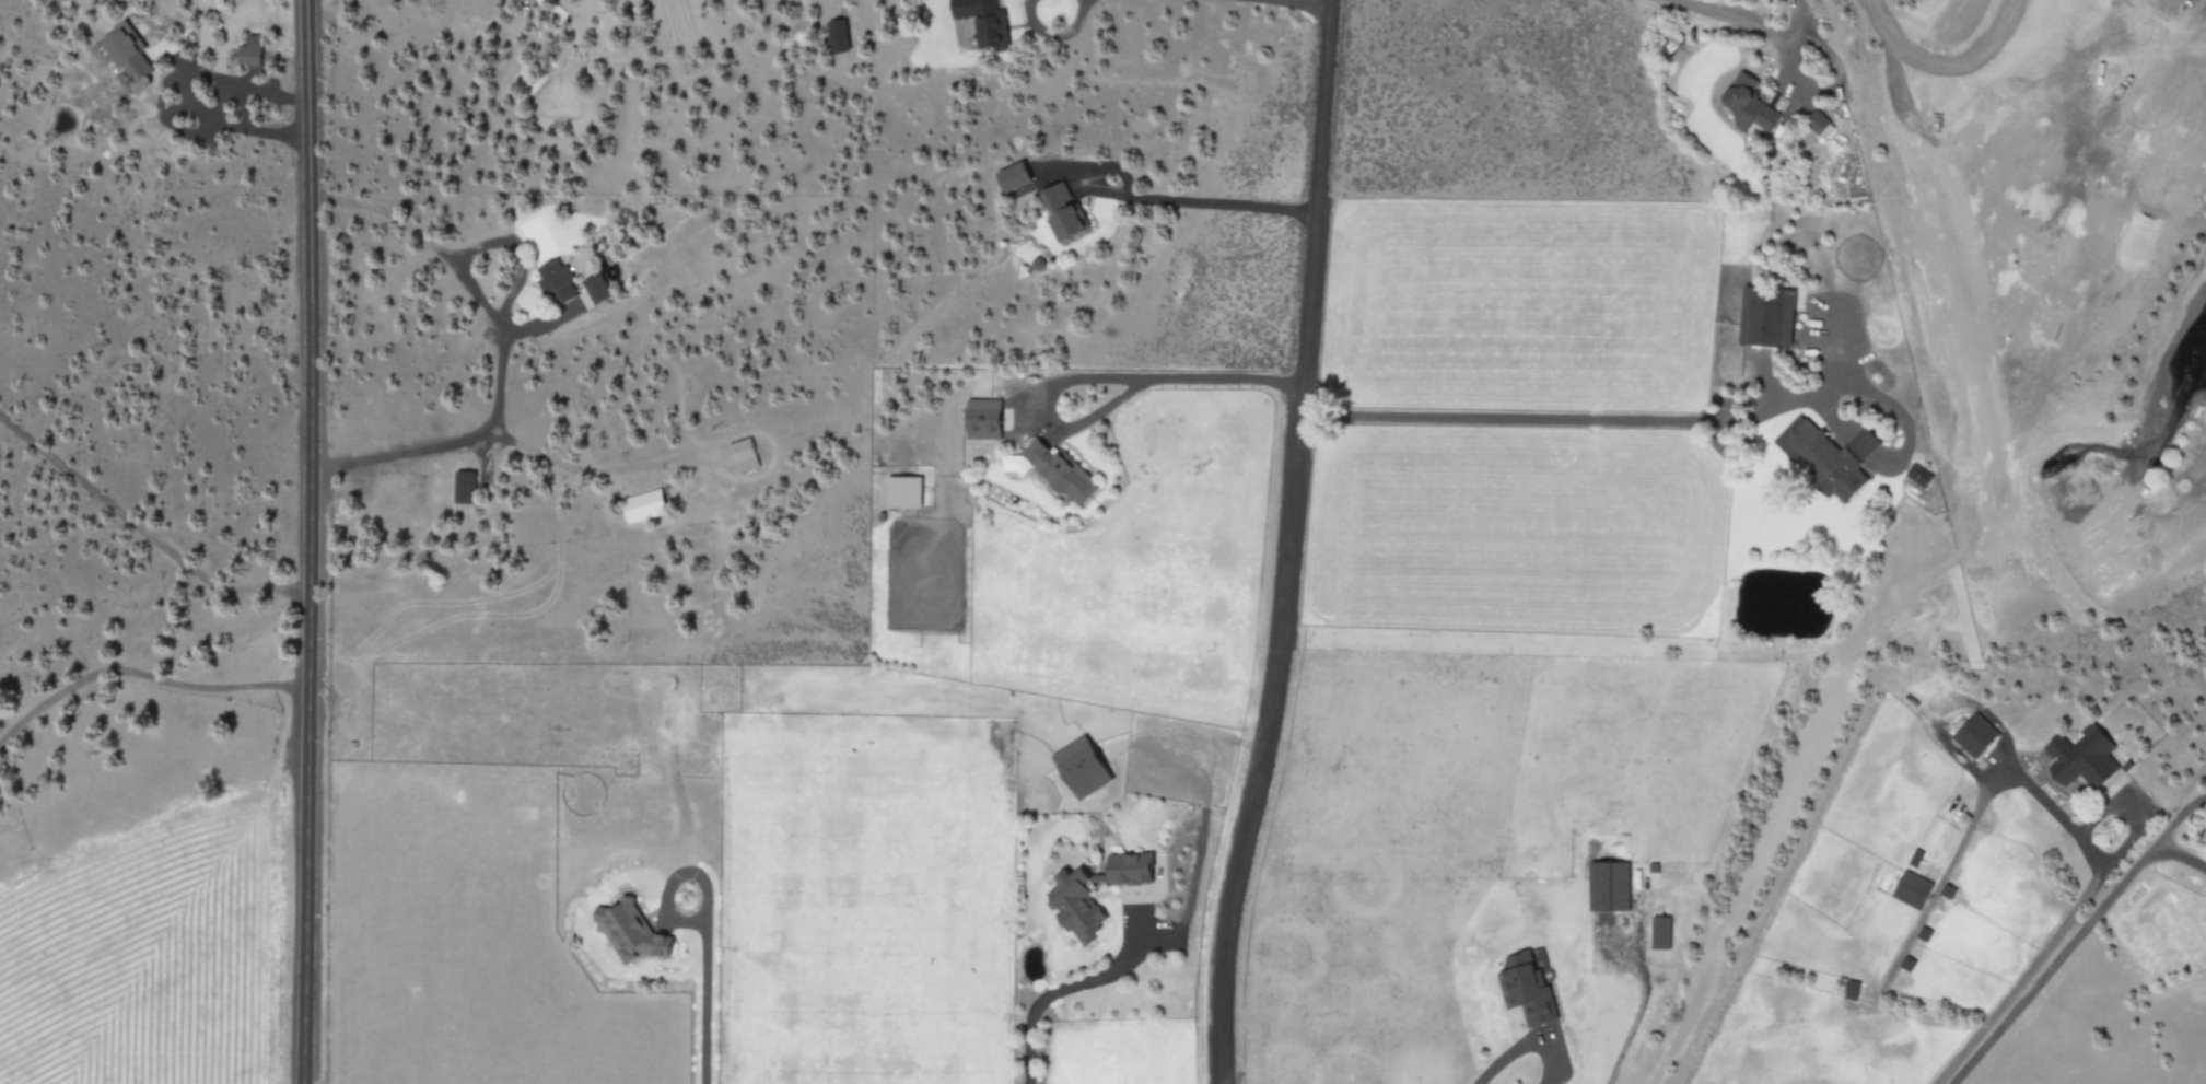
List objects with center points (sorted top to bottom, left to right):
building: (984, 21)
building: (837, 36)
building: (128, 50)
building: (250, 50)
building: (1750, 105)
building: (1818, 121)
building: (1015, 176)
building: (1064, 213)
building: (557, 282)
building: (596, 289)
building: (1767, 317)
building: (983, 419)
building: (743, 454)
building: (1826, 456)
building: (1061, 471)
building: (1919, 475)
building: (464, 487)
building: (903, 492)
building: (643, 505)
road: (305, 541)
road: (1280, 544)
crop: (1169, 642)
building: (1974, 735)
building: (2084, 757)
building: (1083, 766)
building: (1609, 885)
building: (1911, 889)
building: (1075, 902)
building: (632, 931)
building: (1659, 932)
crop: (145, 959)
building: (1527, 987)

